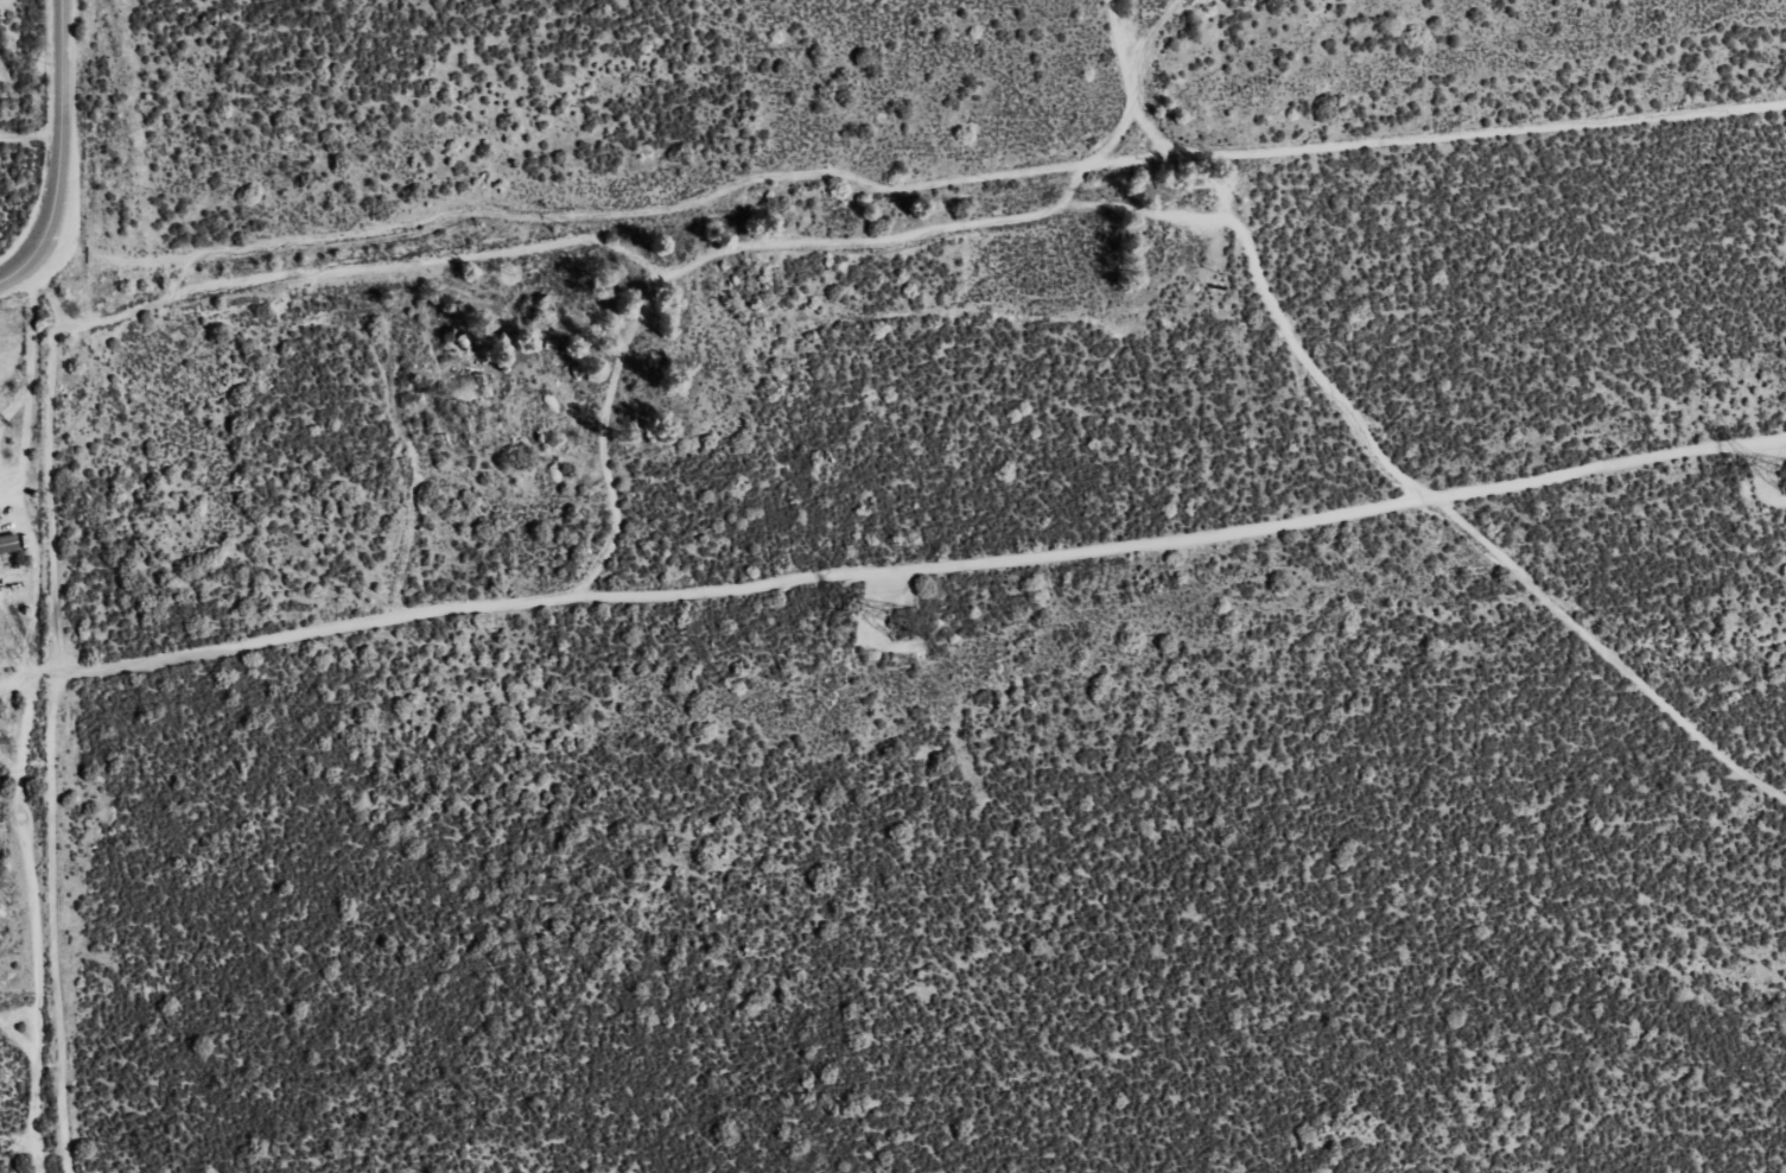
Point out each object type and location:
road: (1435, 140)
road: (59, 159)
road: (1057, 177)
power tower: (1784, 480)
building: (9, 544)
power tower: (894, 621)

